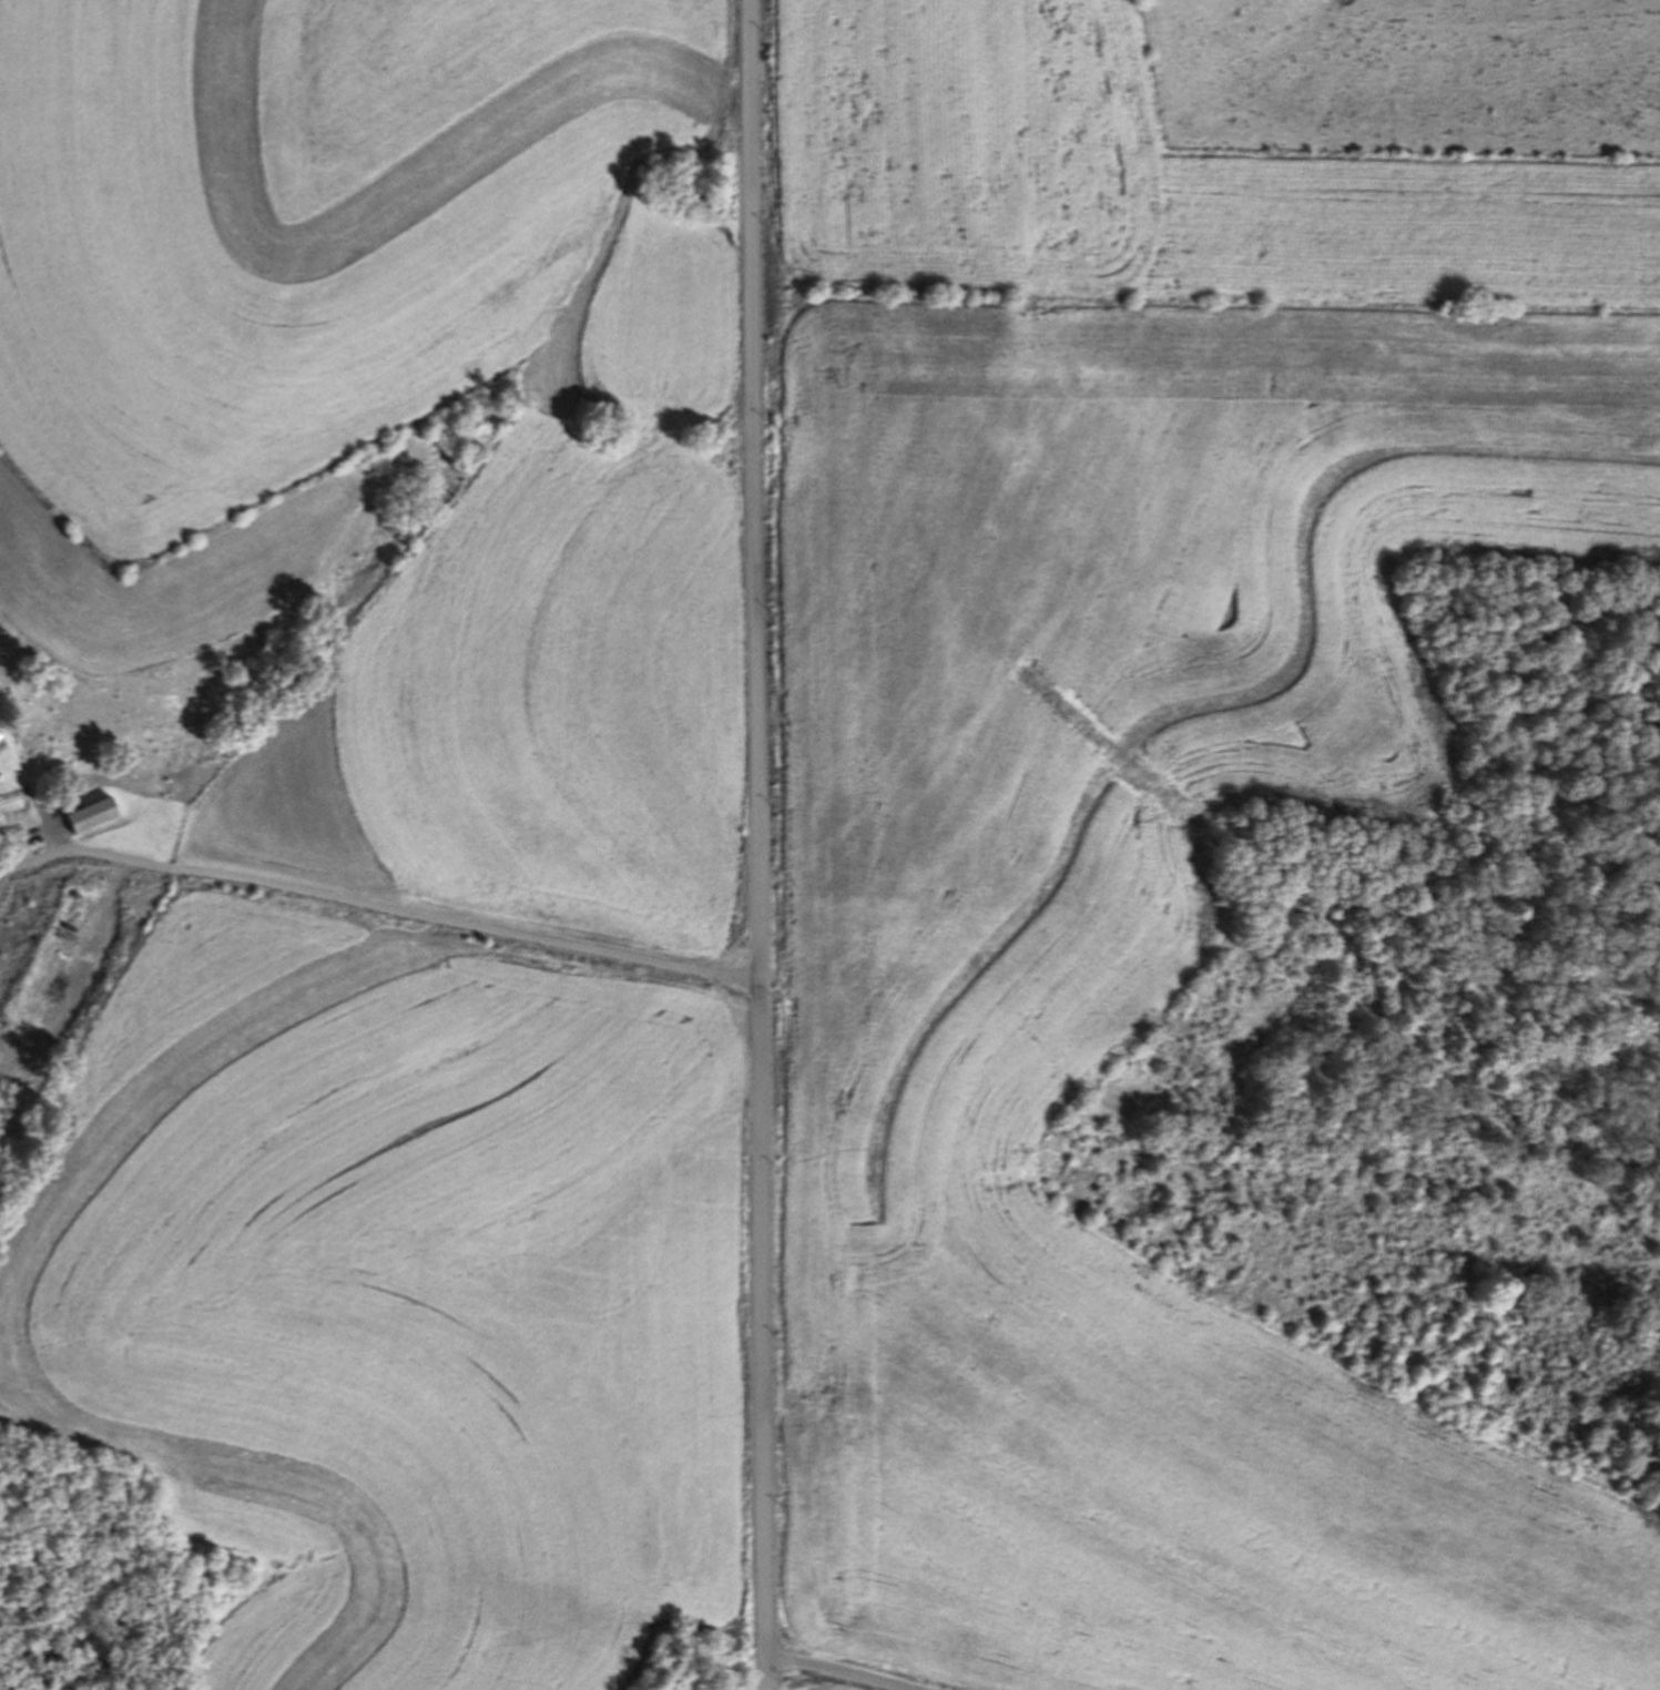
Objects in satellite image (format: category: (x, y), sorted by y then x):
building: (1, 734)
road: (756, 845)
road: (378, 908)
road: (836, 1672)

